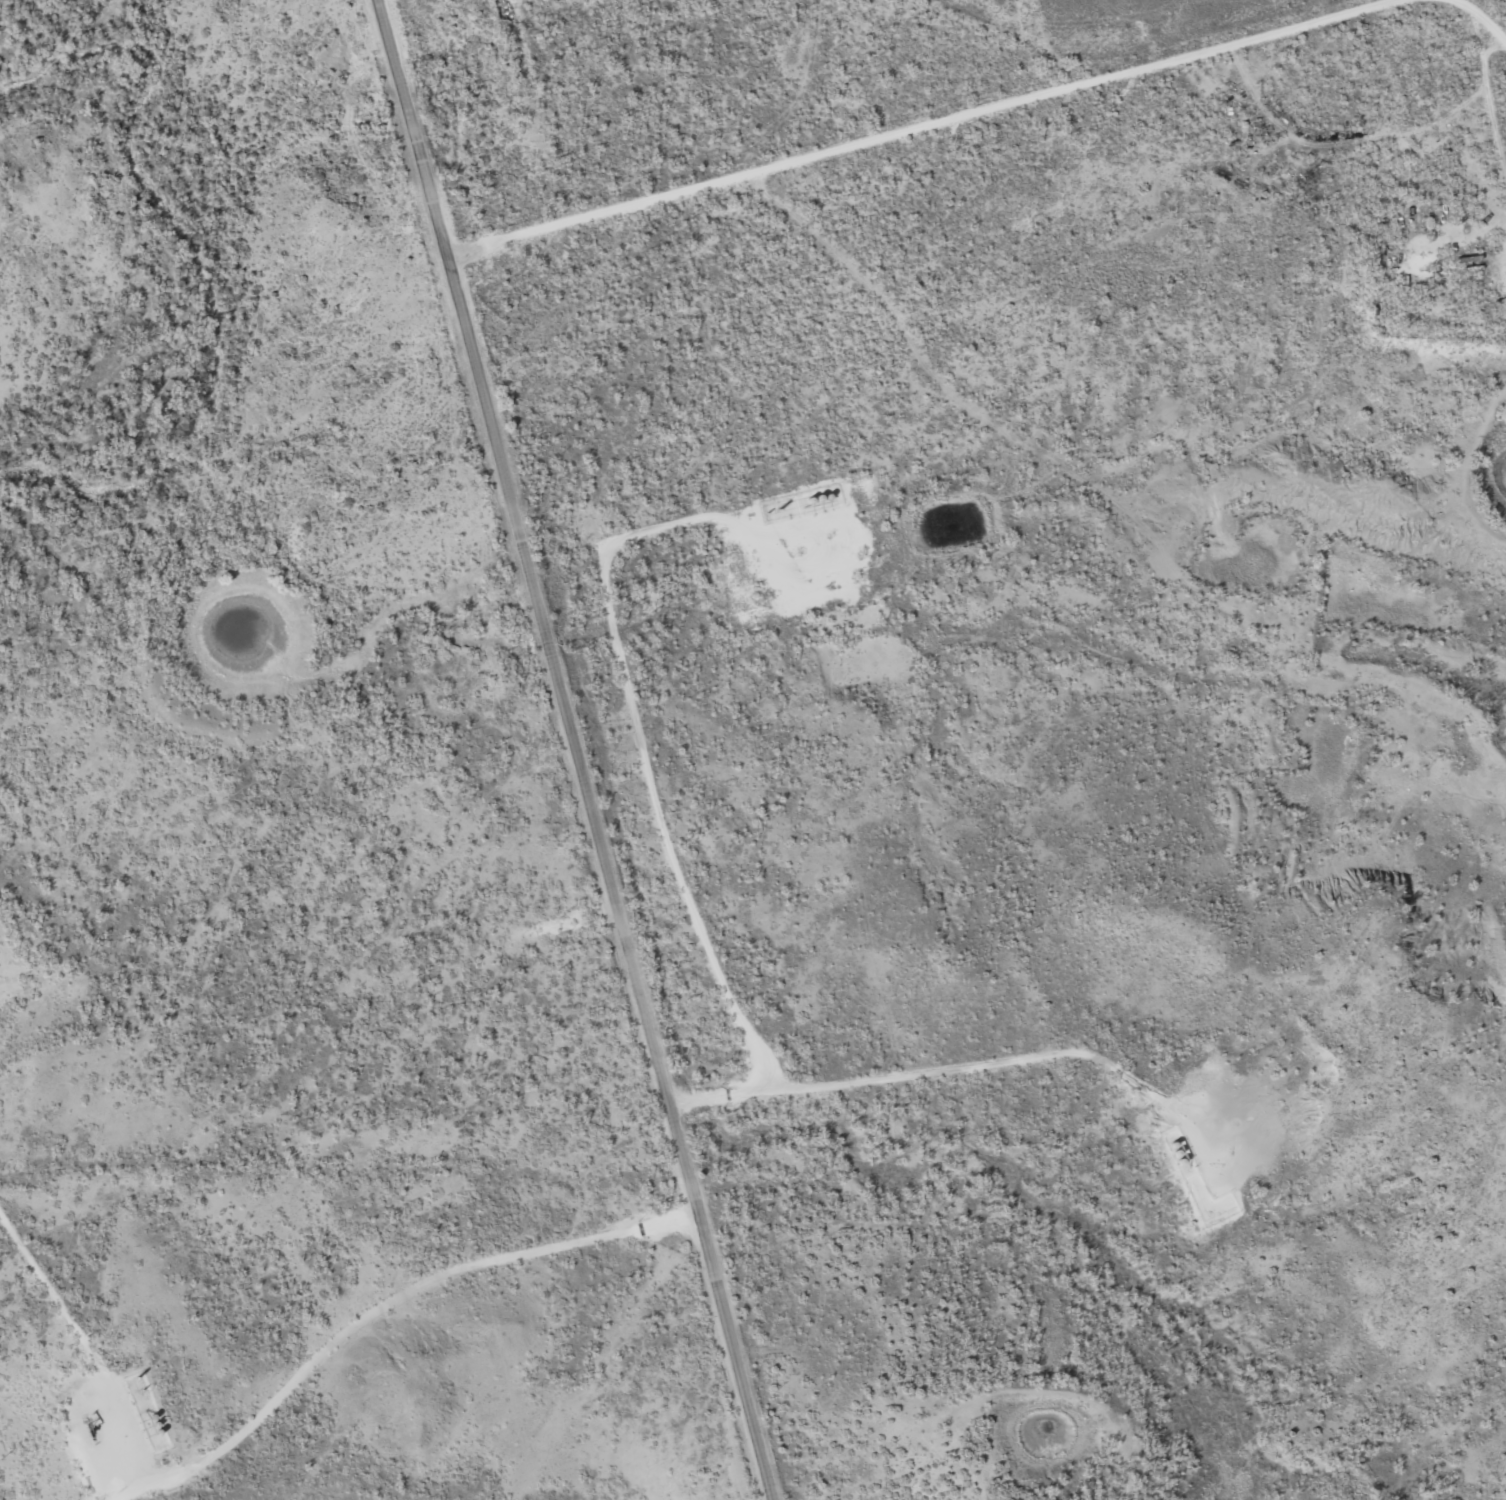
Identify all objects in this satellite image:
road: (1482, 18)
road: (919, 127)
road: (412, 128)
road: (1044, 724)
road: (607, 877)

